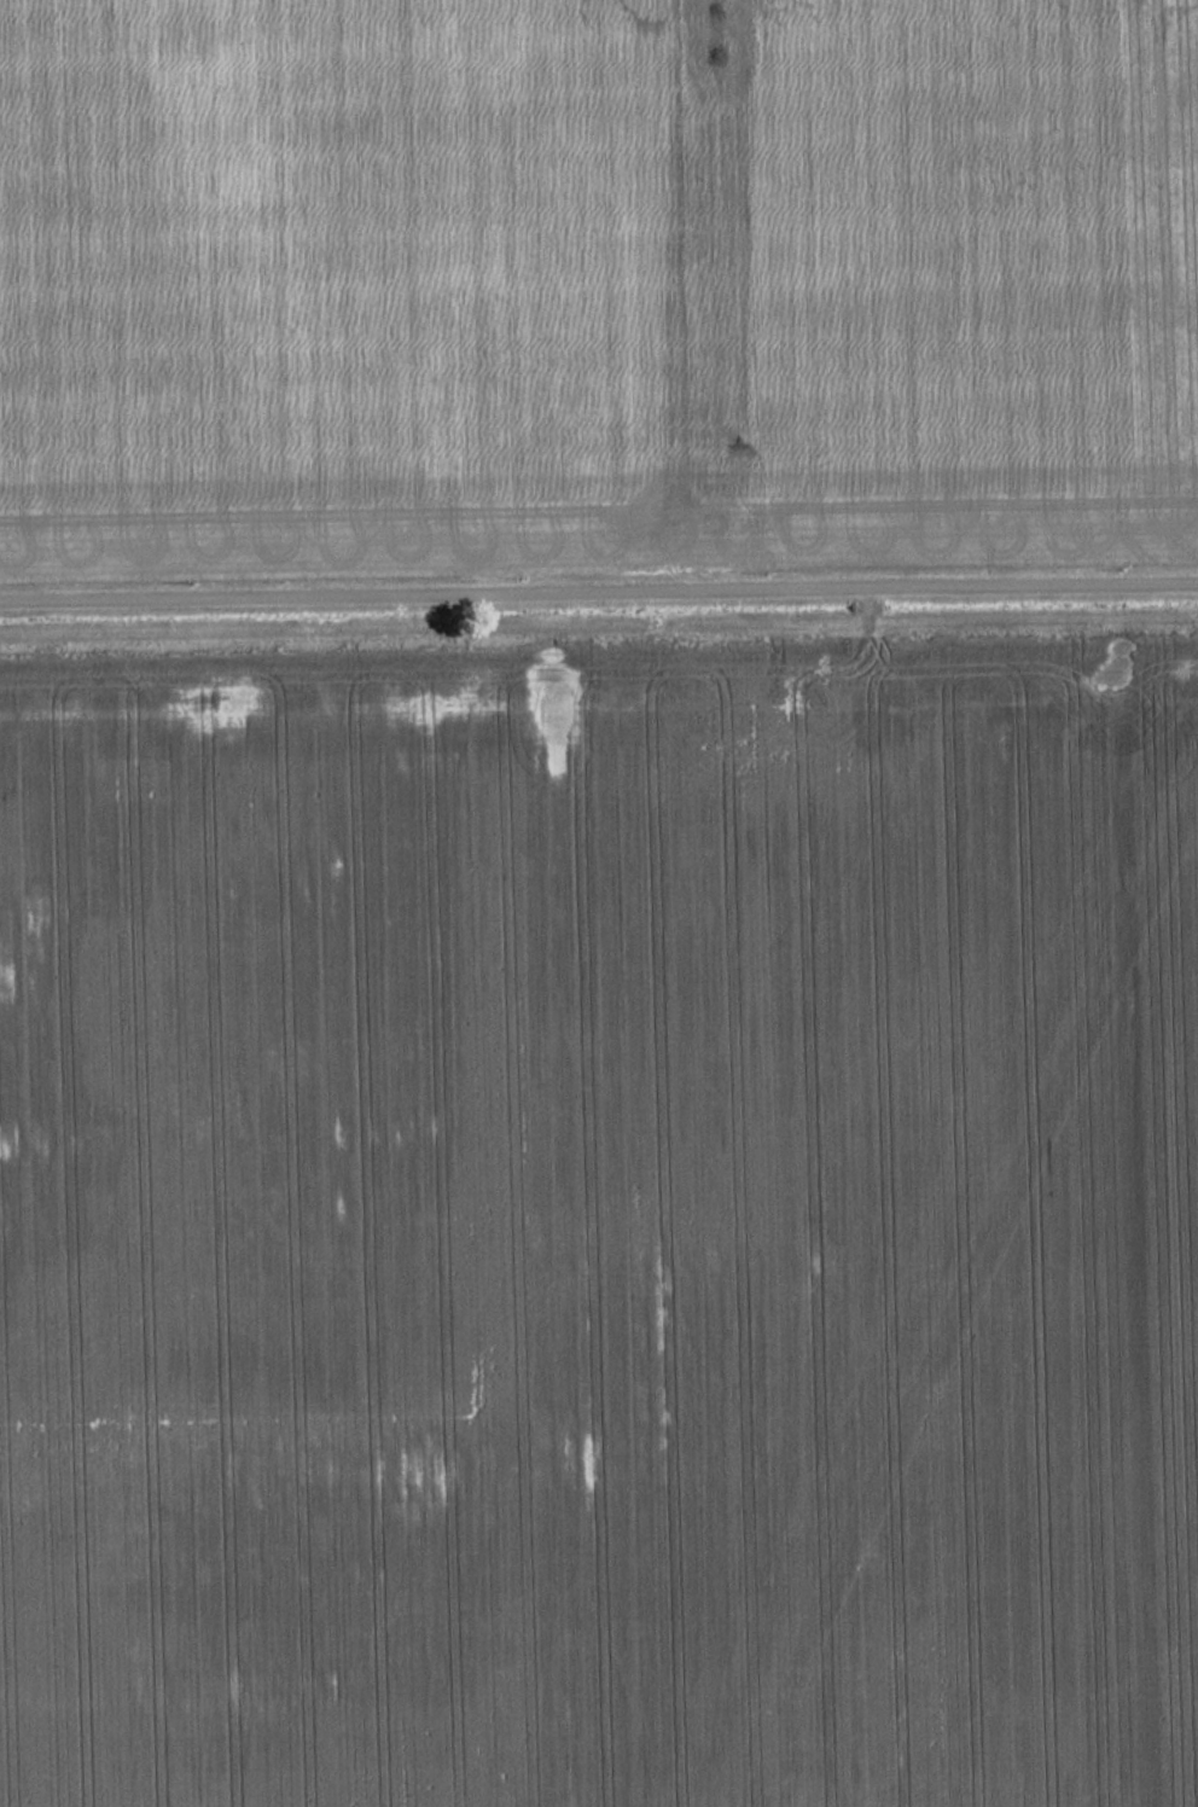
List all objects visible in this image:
crop: (595, 277)
road: (598, 595)
crop: (600, 1220)

